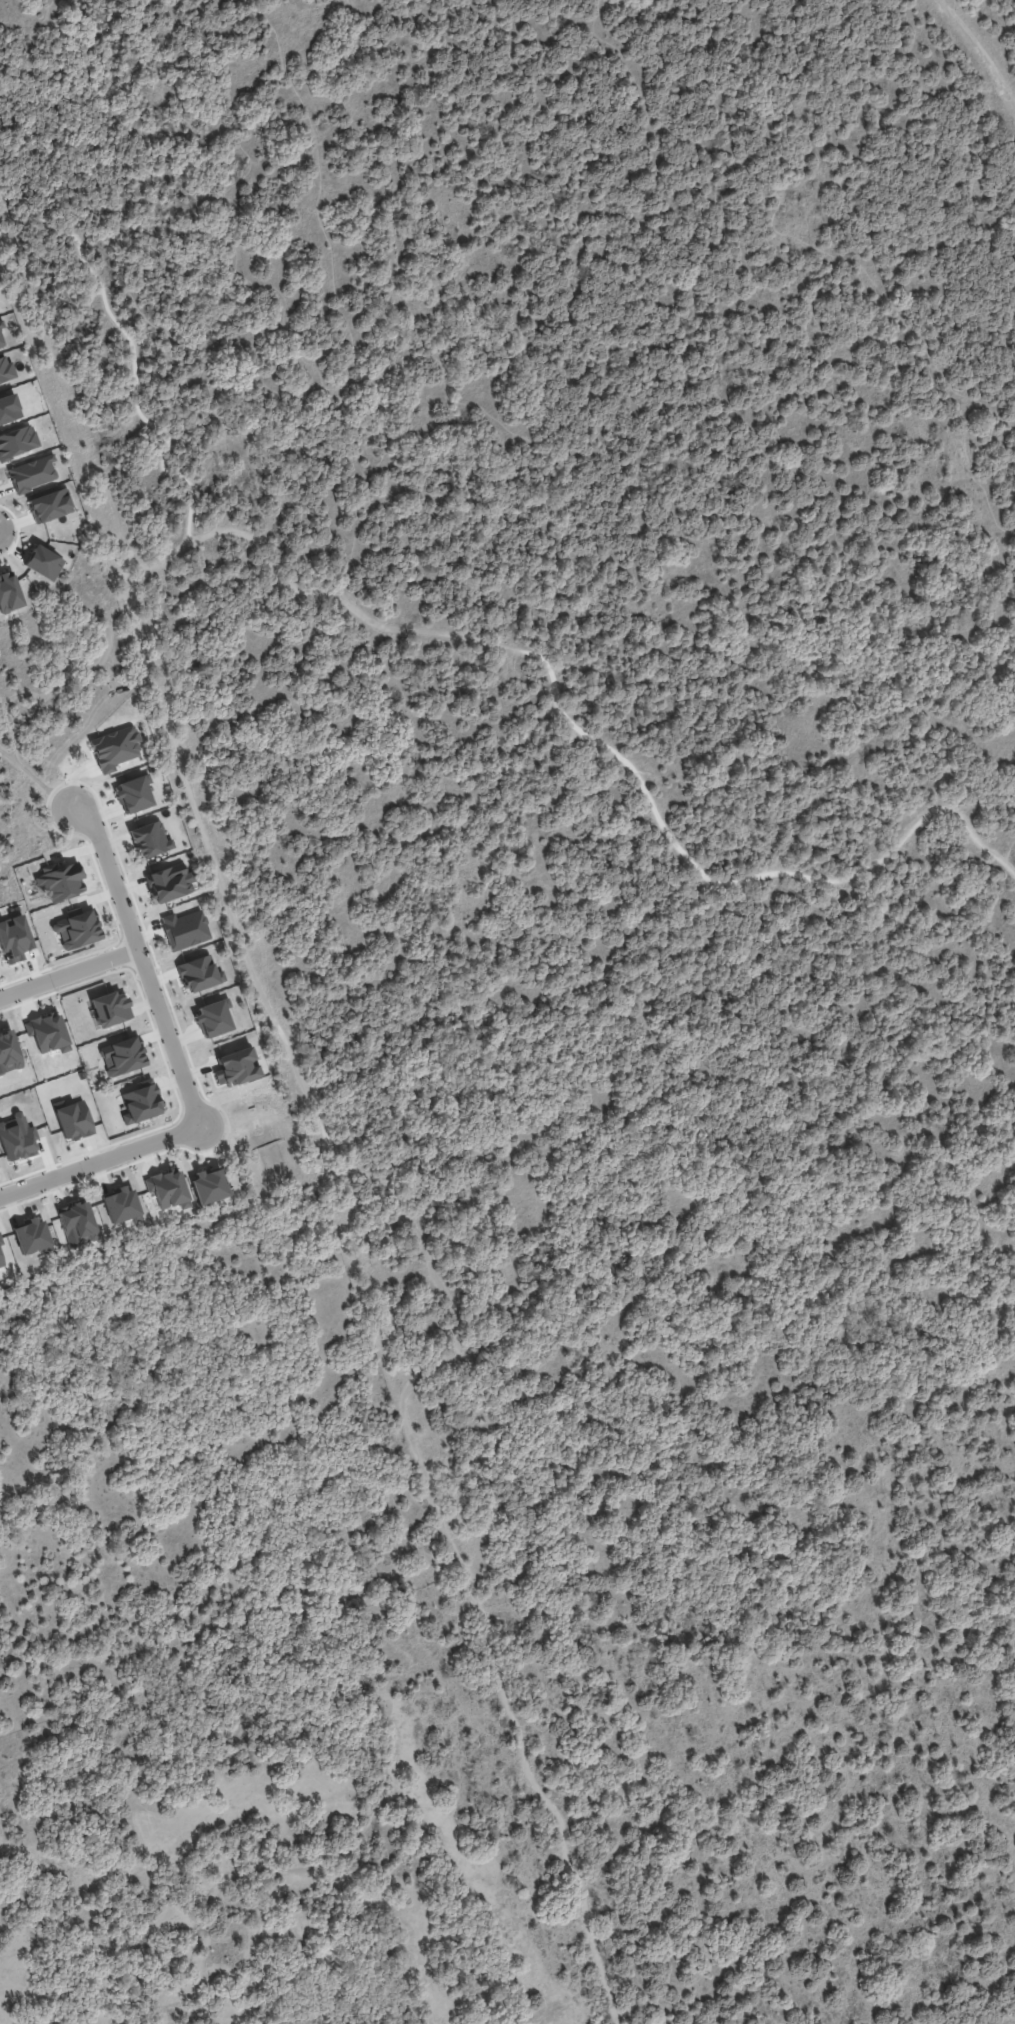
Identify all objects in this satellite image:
road: (659, 0)
road: (33, 48)
road: (978, 51)
road: (780, 227)
road: (338, 298)
building: (1, 324)
building: (1, 341)
road: (209, 354)
road: (133, 360)
building: (5, 369)
building: (9, 408)
road: (55, 413)
building: (17, 441)
building: (32, 473)
building: (50, 505)
building: (43, 562)
building: (9, 592)
building: (115, 748)
building: (135, 793)
road: (194, 796)
building: (149, 839)
building: (60, 881)
building: (76, 929)
building: (184, 929)
building: (14, 939)
road: (141, 964)
park: (574, 969)
road: (68, 971)
building: (198, 973)
building: (110, 1008)
building: (212, 1018)
building: (47, 1032)
building: (8, 1051)
building: (122, 1055)
building: (235, 1067)
building: (141, 1102)
building: (73, 1120)
building: (17, 1137)
road: (99, 1159)
building: (208, 1186)
building: (167, 1188)
building: (121, 1205)
building: (77, 1224)
building: (30, 1236)
building: (0, 1241)
building: (1, 1261)
road: (927, 1738)
road: (648, 2001)

